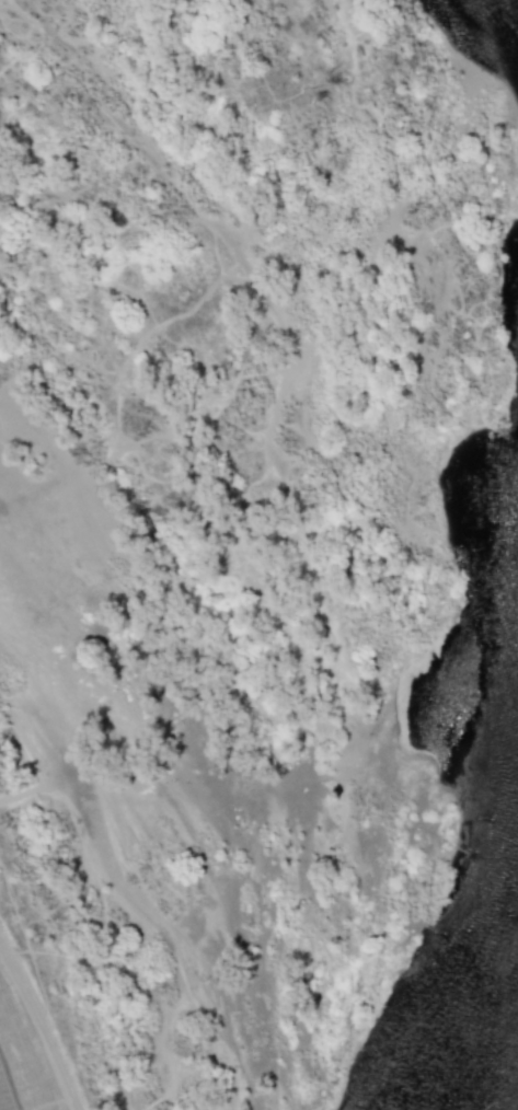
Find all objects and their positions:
road: (26, 793)
road: (42, 1026)
river: (498, 1028)
road: (4, 1097)

